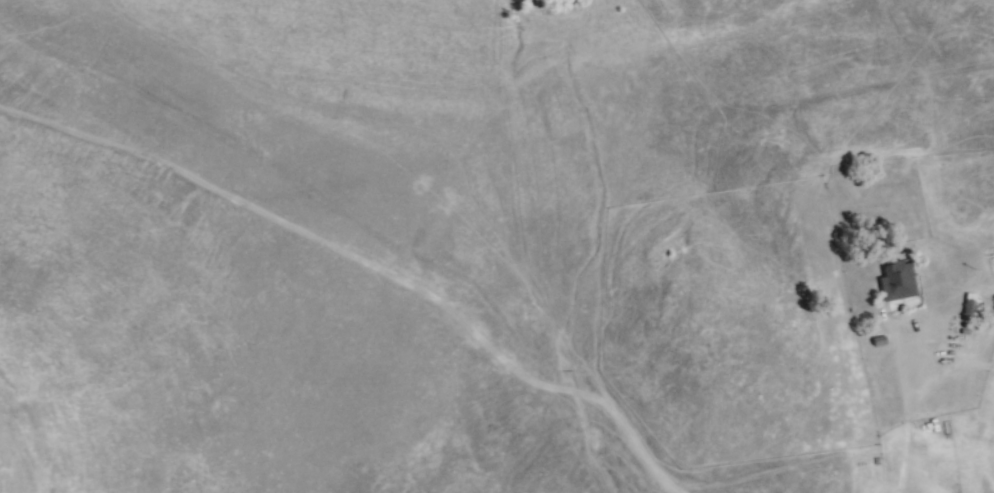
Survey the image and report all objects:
road: (360, 271)
building: (900, 279)
road: (916, 379)
road: (783, 469)

